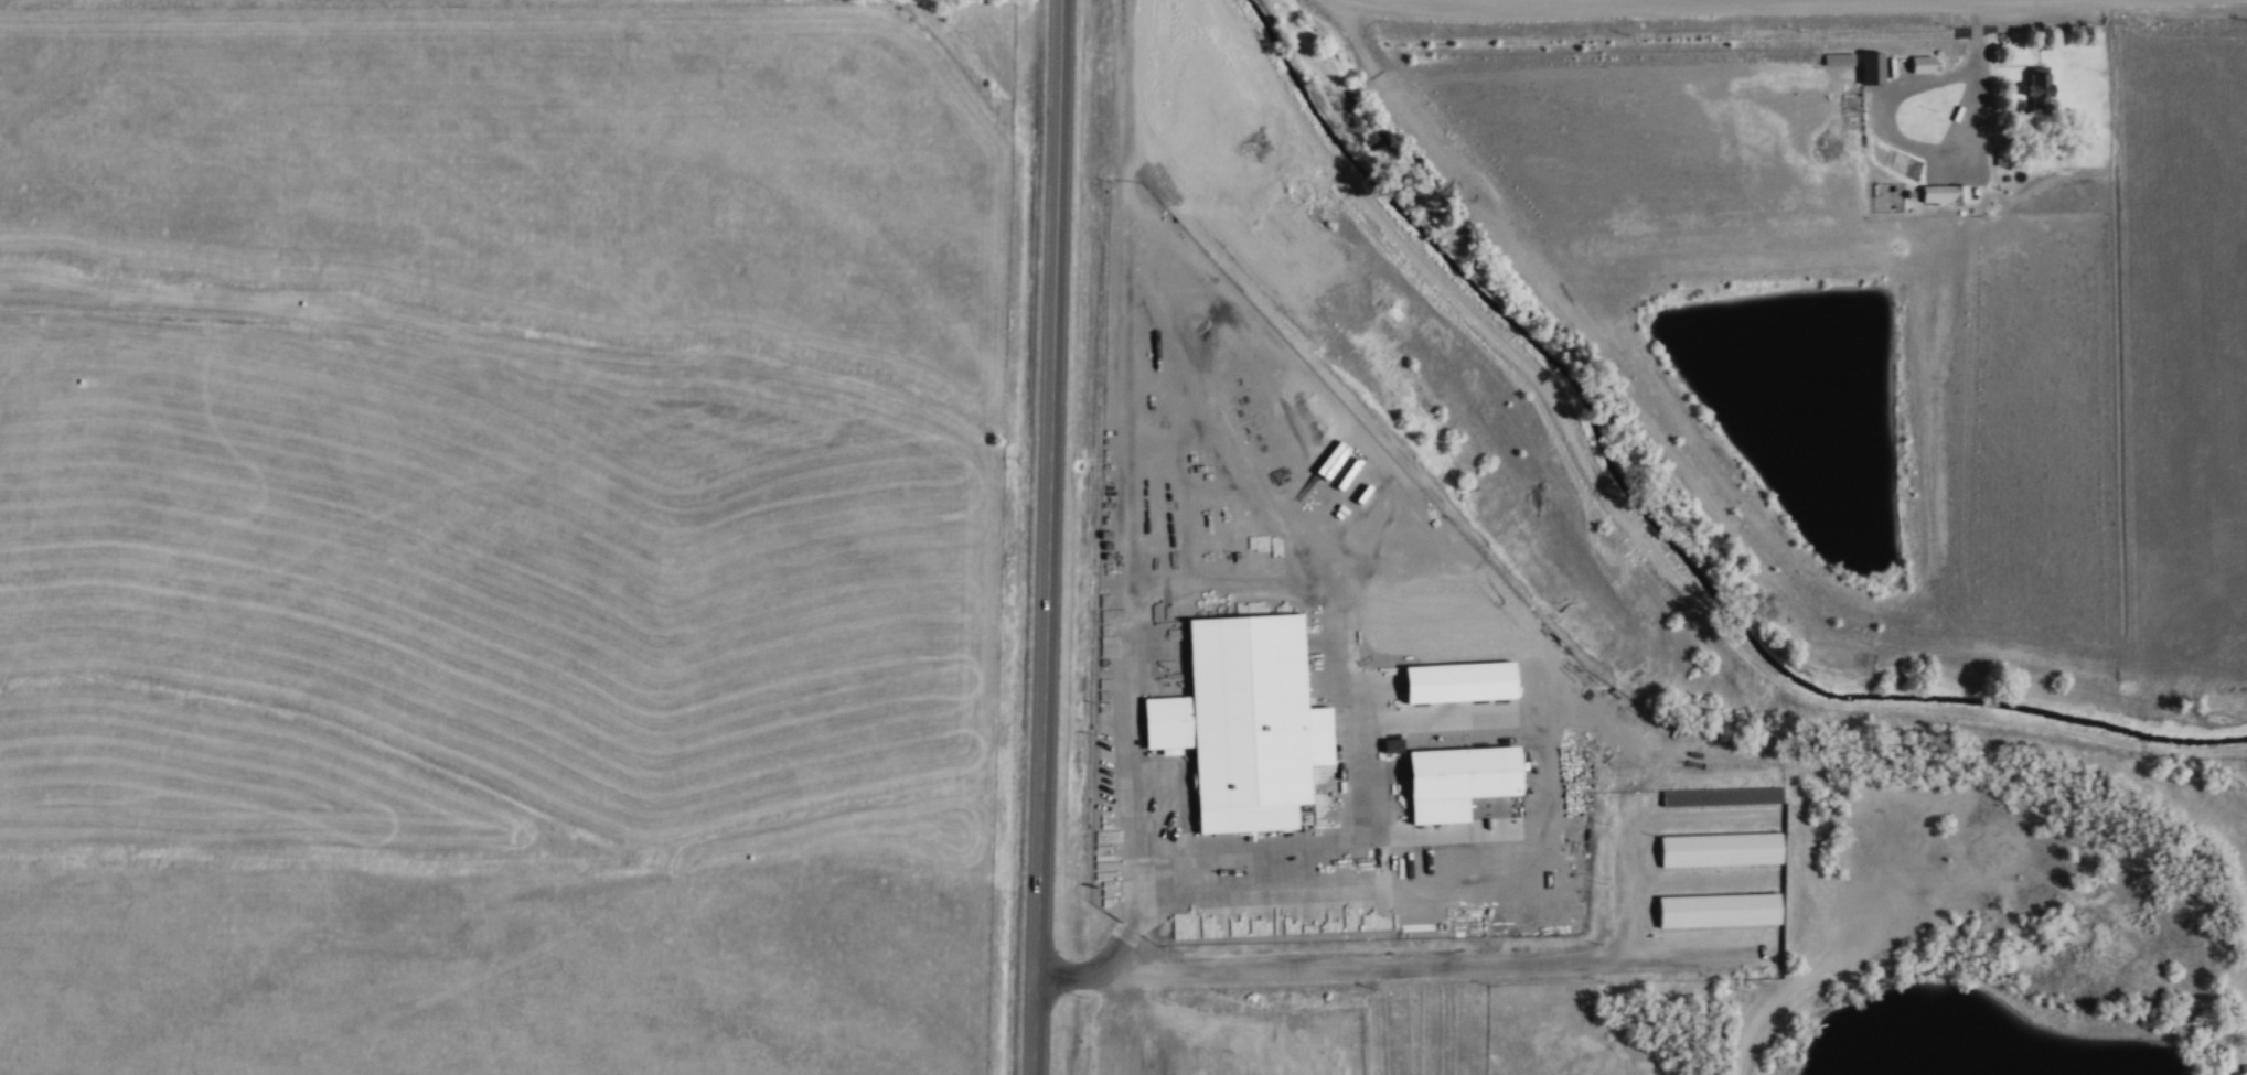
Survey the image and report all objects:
road: (1668, 8)
building: (1923, 63)
building: (1872, 67)
road: (1976, 76)
building: (2041, 89)
road: (1123, 94)
building: (1943, 193)
road: (1049, 537)
building: (1452, 684)
building: (1245, 720)
building: (1459, 778)
building: (1723, 795)
building: (1719, 850)
road: (1629, 859)
building: (1713, 910)
road: (1088, 968)
road: (1780, 998)
building: (1185, 1025)
building: (1114, 1058)
building: (2244, 1068)

